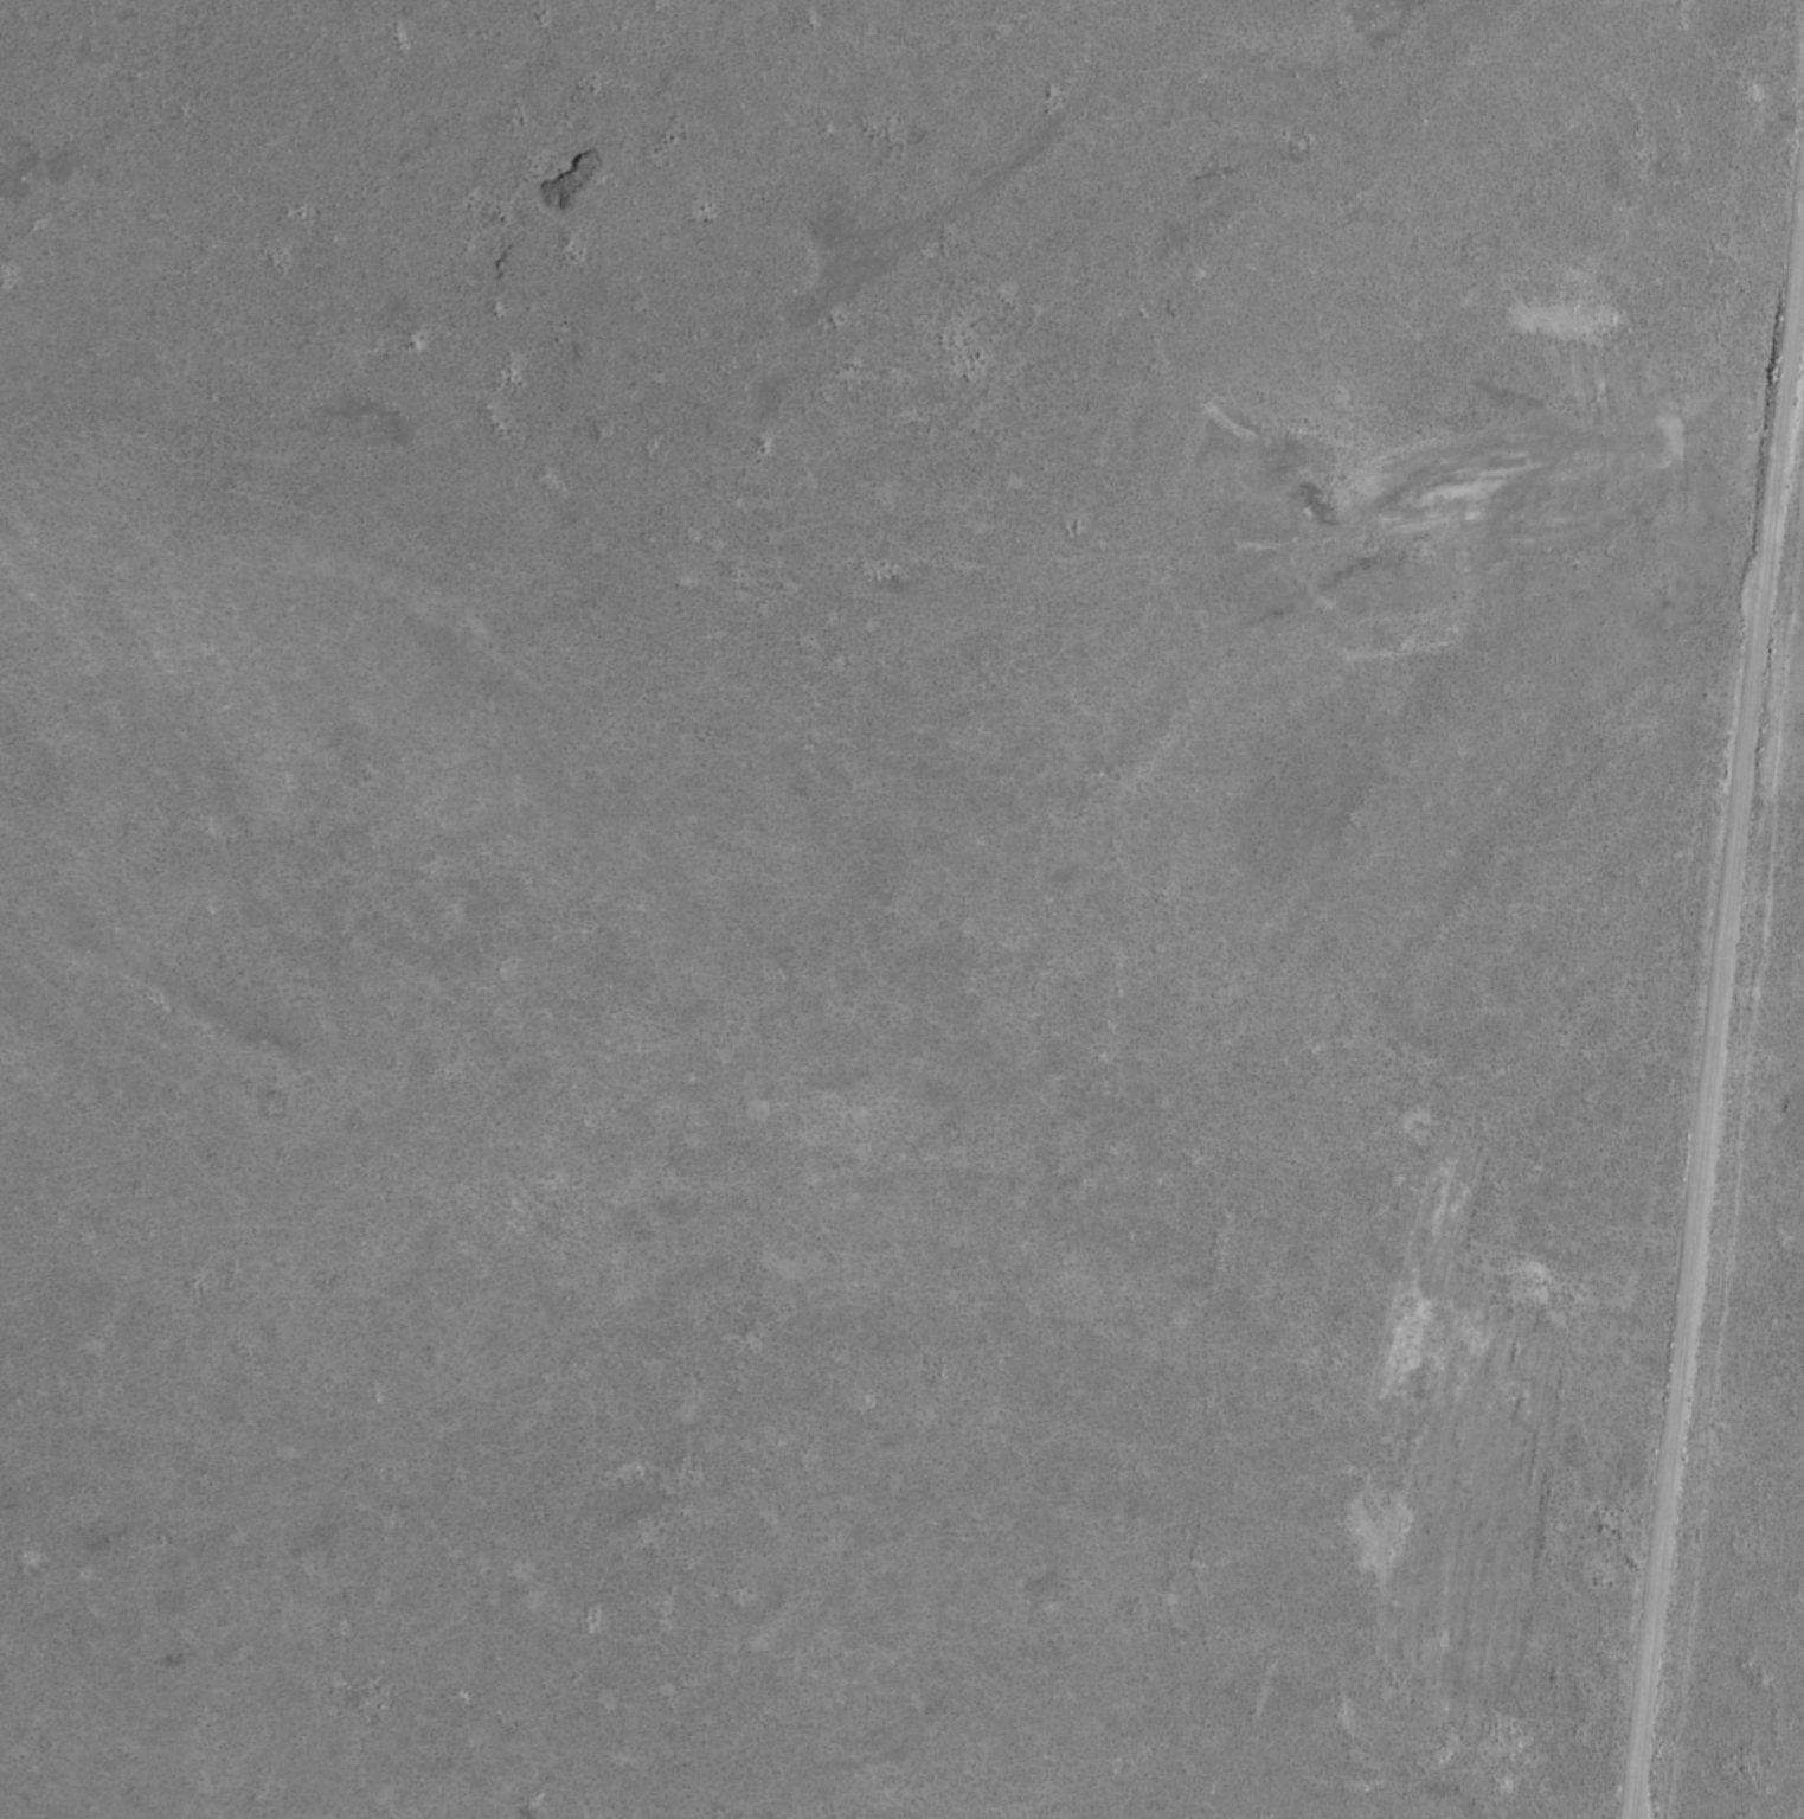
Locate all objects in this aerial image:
road: (1716, 995)

